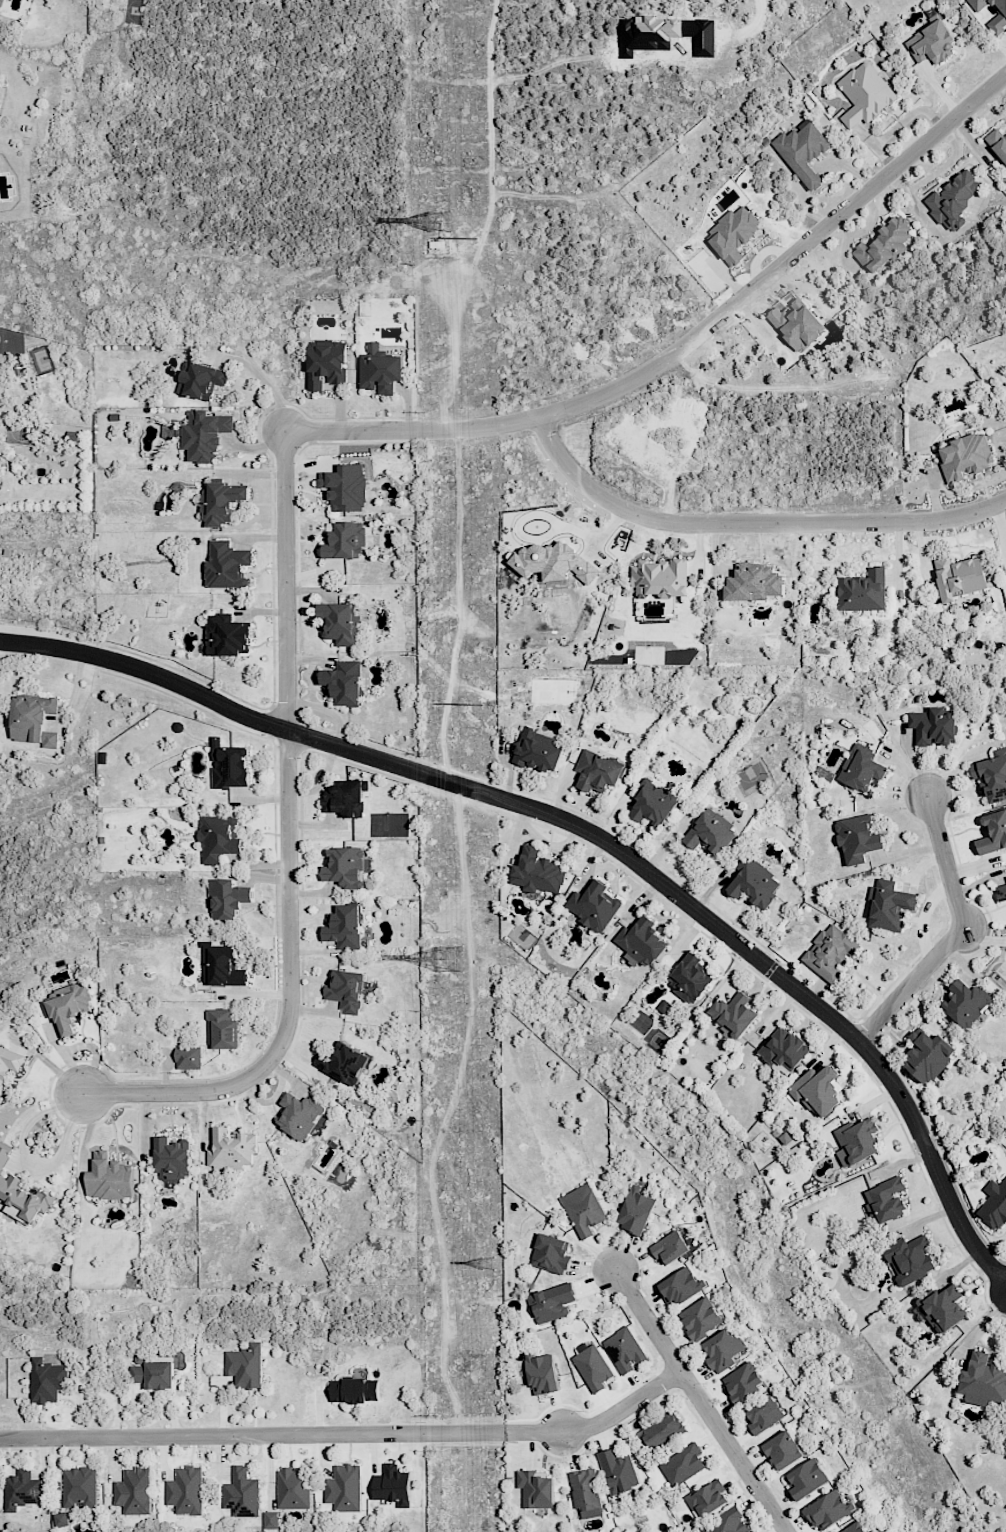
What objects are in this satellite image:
building: (992, 14)
building: (931, 43)
building: (864, 93)
building: (997, 143)
building: (802, 151)
building: (953, 201)
power tower: (437, 221)
building: (732, 233)
power tower: (477, 238)
building: (884, 245)
building: (796, 323)
building: (326, 363)
building: (379, 370)
building: (201, 379)
road: (266, 384)
road: (454, 387)
building: (204, 435)
road: (289, 435)
building: (965, 456)
building: (345, 487)
building: (222, 502)
road: (750, 522)
building: (345, 540)
building: (553, 562)
building: (226, 565)
building: (959, 576)
building: (660, 578)
building: (752, 582)
building: (863, 591)
building: (340, 622)
building: (227, 636)
building: (343, 682)
power tower: (481, 705)
building: (33, 720)
building: (933, 726)
building: (537, 750)
building: (229, 765)
building: (861, 767)
building: (598, 771)
building: (824, 774)
building: (345, 798)
building: (652, 802)
road: (591, 832)
building: (709, 832)
building: (993, 832)
building: (218, 838)
building: (857, 838)
building: (345, 867)
building: (537, 872)
building: (1005, 876)
building: (755, 882)
building: (1001, 891)
building: (227, 898)
building: (593, 906)
building: (887, 906)
building: (344, 927)
road: (958, 932)
building: (641, 941)
building: (830, 953)
power tower: (449, 962)
building: (223, 967)
building: (690, 978)
building: (346, 990)
building: (966, 1002)
building: (67, 1007)
building: (733, 1015)
building: (223, 1029)
building: (784, 1050)
building: (927, 1056)
building: (188, 1057)
building: (343, 1063)
building: (9, 1064)
building: (817, 1090)
road: (448, 1112)
building: (299, 1115)
building: (856, 1141)
building: (232, 1149)
building: (172, 1158)
road: (34, 1164)
building: (109, 1178)
building: (21, 1194)
building: (886, 1199)
building: (994, 1205)
building: (583, 1210)
building: (636, 1210)
building: (673, 1246)
building: (550, 1254)
building: (909, 1259)
power tower: (488, 1263)
building: (680, 1286)
building: (551, 1302)
building: (942, 1307)
building: (700, 1318)
building: (624, 1350)
building: (723, 1350)
building: (245, 1365)
building: (592, 1368)
building: (542, 1373)
building: (136, 1374)
building: (159, 1375)
building: (47, 1380)
building: (982, 1381)
building: (743, 1382)
building: (354, 1390)
road: (700, 1400)
building: (764, 1415)
road: (599, 1420)
building: (661, 1430)
road: (252, 1434)
building: (782, 1450)
building: (682, 1465)
building: (617, 1471)
building: (806, 1479)
building: (392, 1485)
building: (79, 1487)
building: (292, 1488)
building: (344, 1488)
building: (22, 1489)
building: (535, 1489)
building: (186, 1490)
building: (133, 1491)
building: (585, 1492)
building: (241, 1493)
building: (707, 1499)
building: (828, 1509)
building: (60, 1519)
building: (270, 1519)
building: (727, 1522)
building: (853, 1527)

